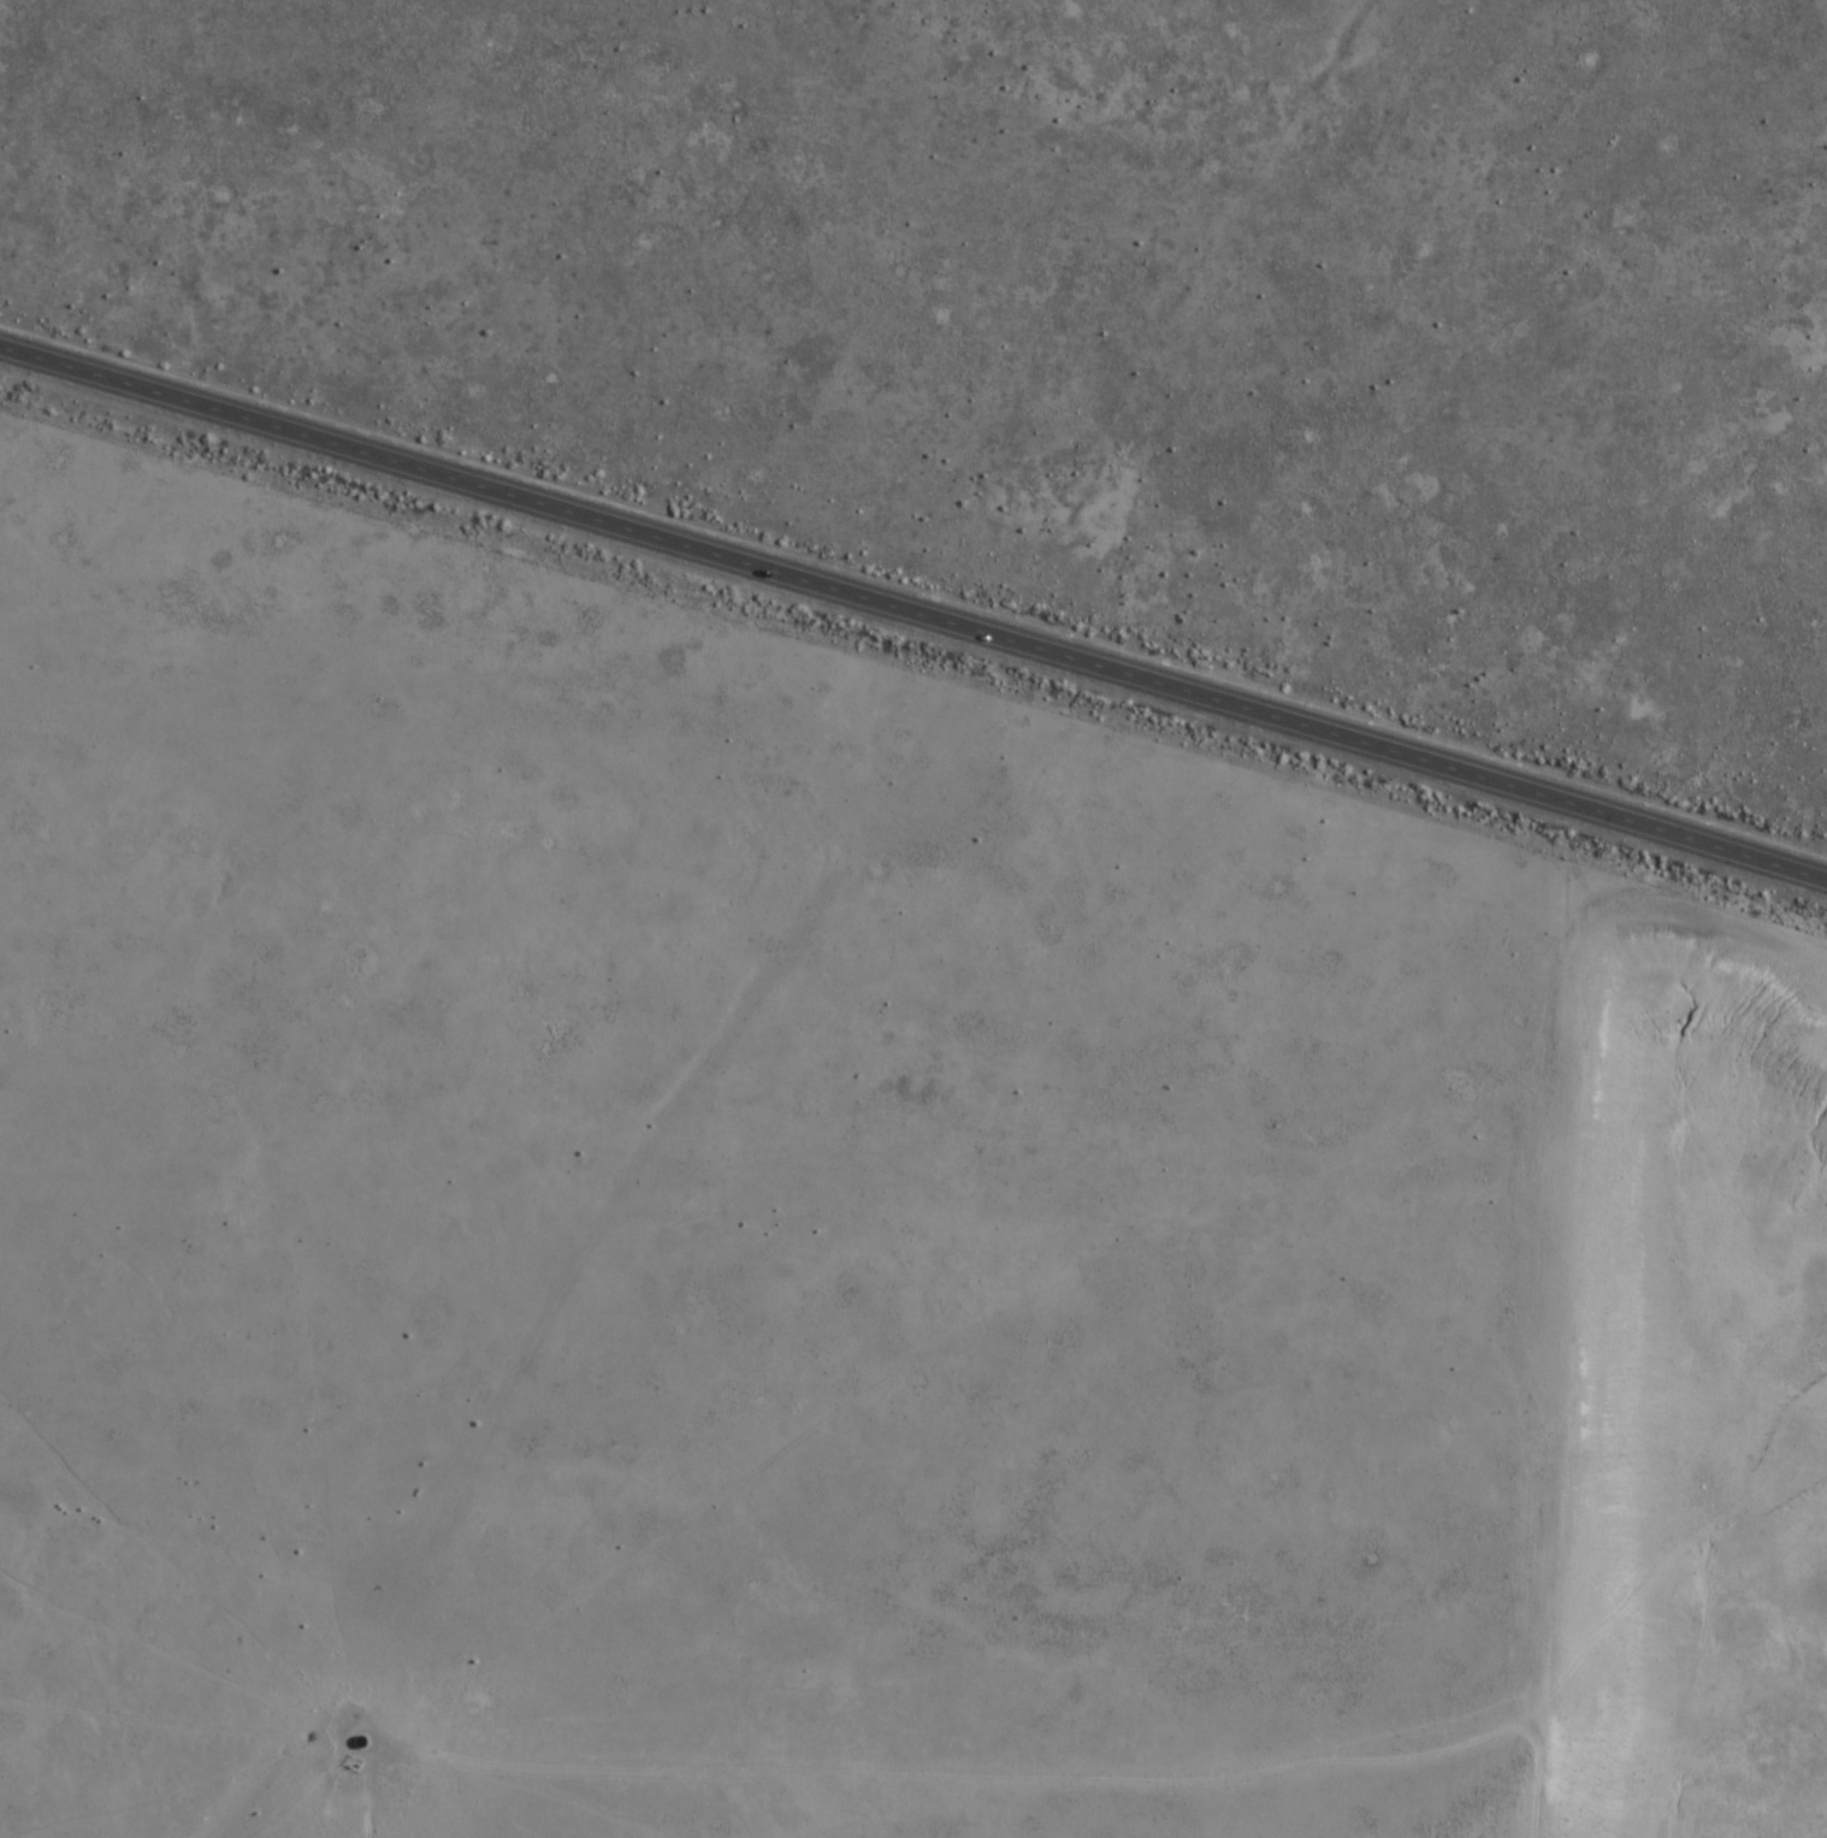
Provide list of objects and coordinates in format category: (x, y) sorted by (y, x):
road: (913, 610)

